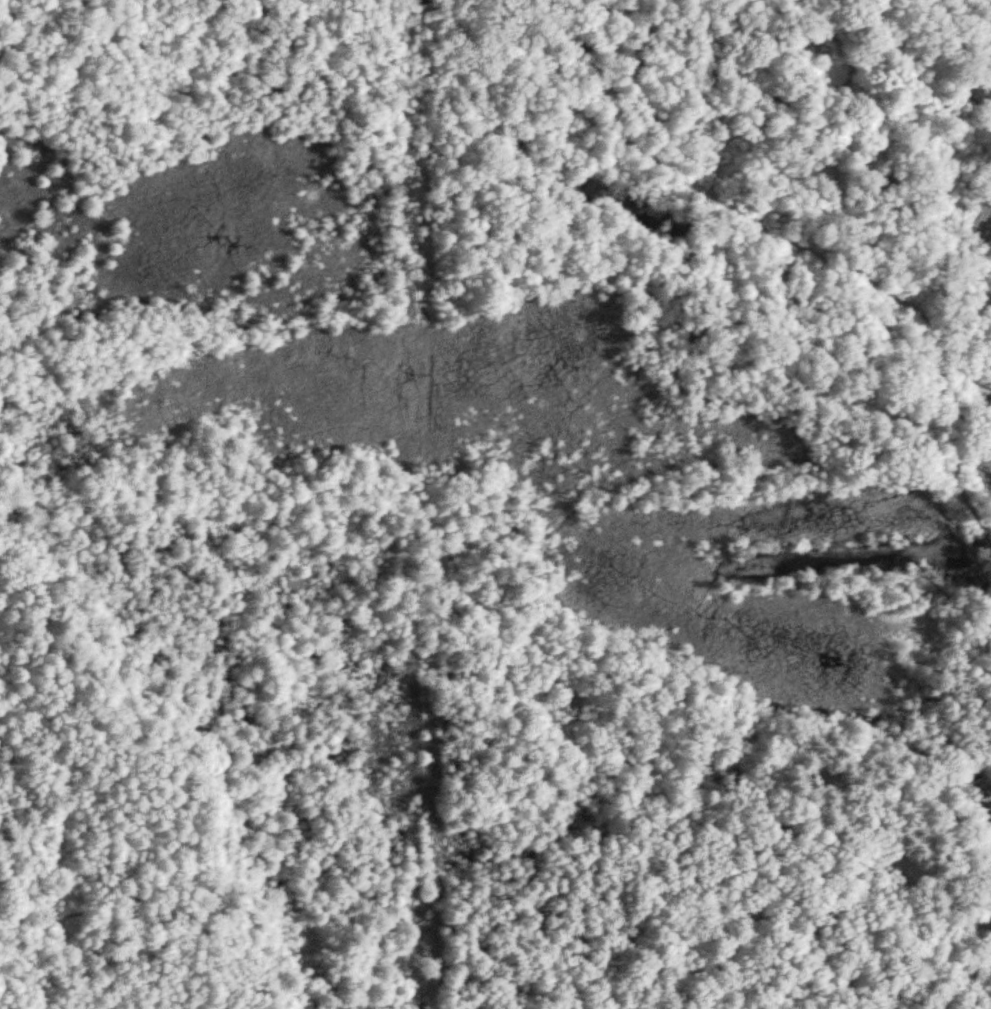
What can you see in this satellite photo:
building: (819, 63)
road: (968, 519)

